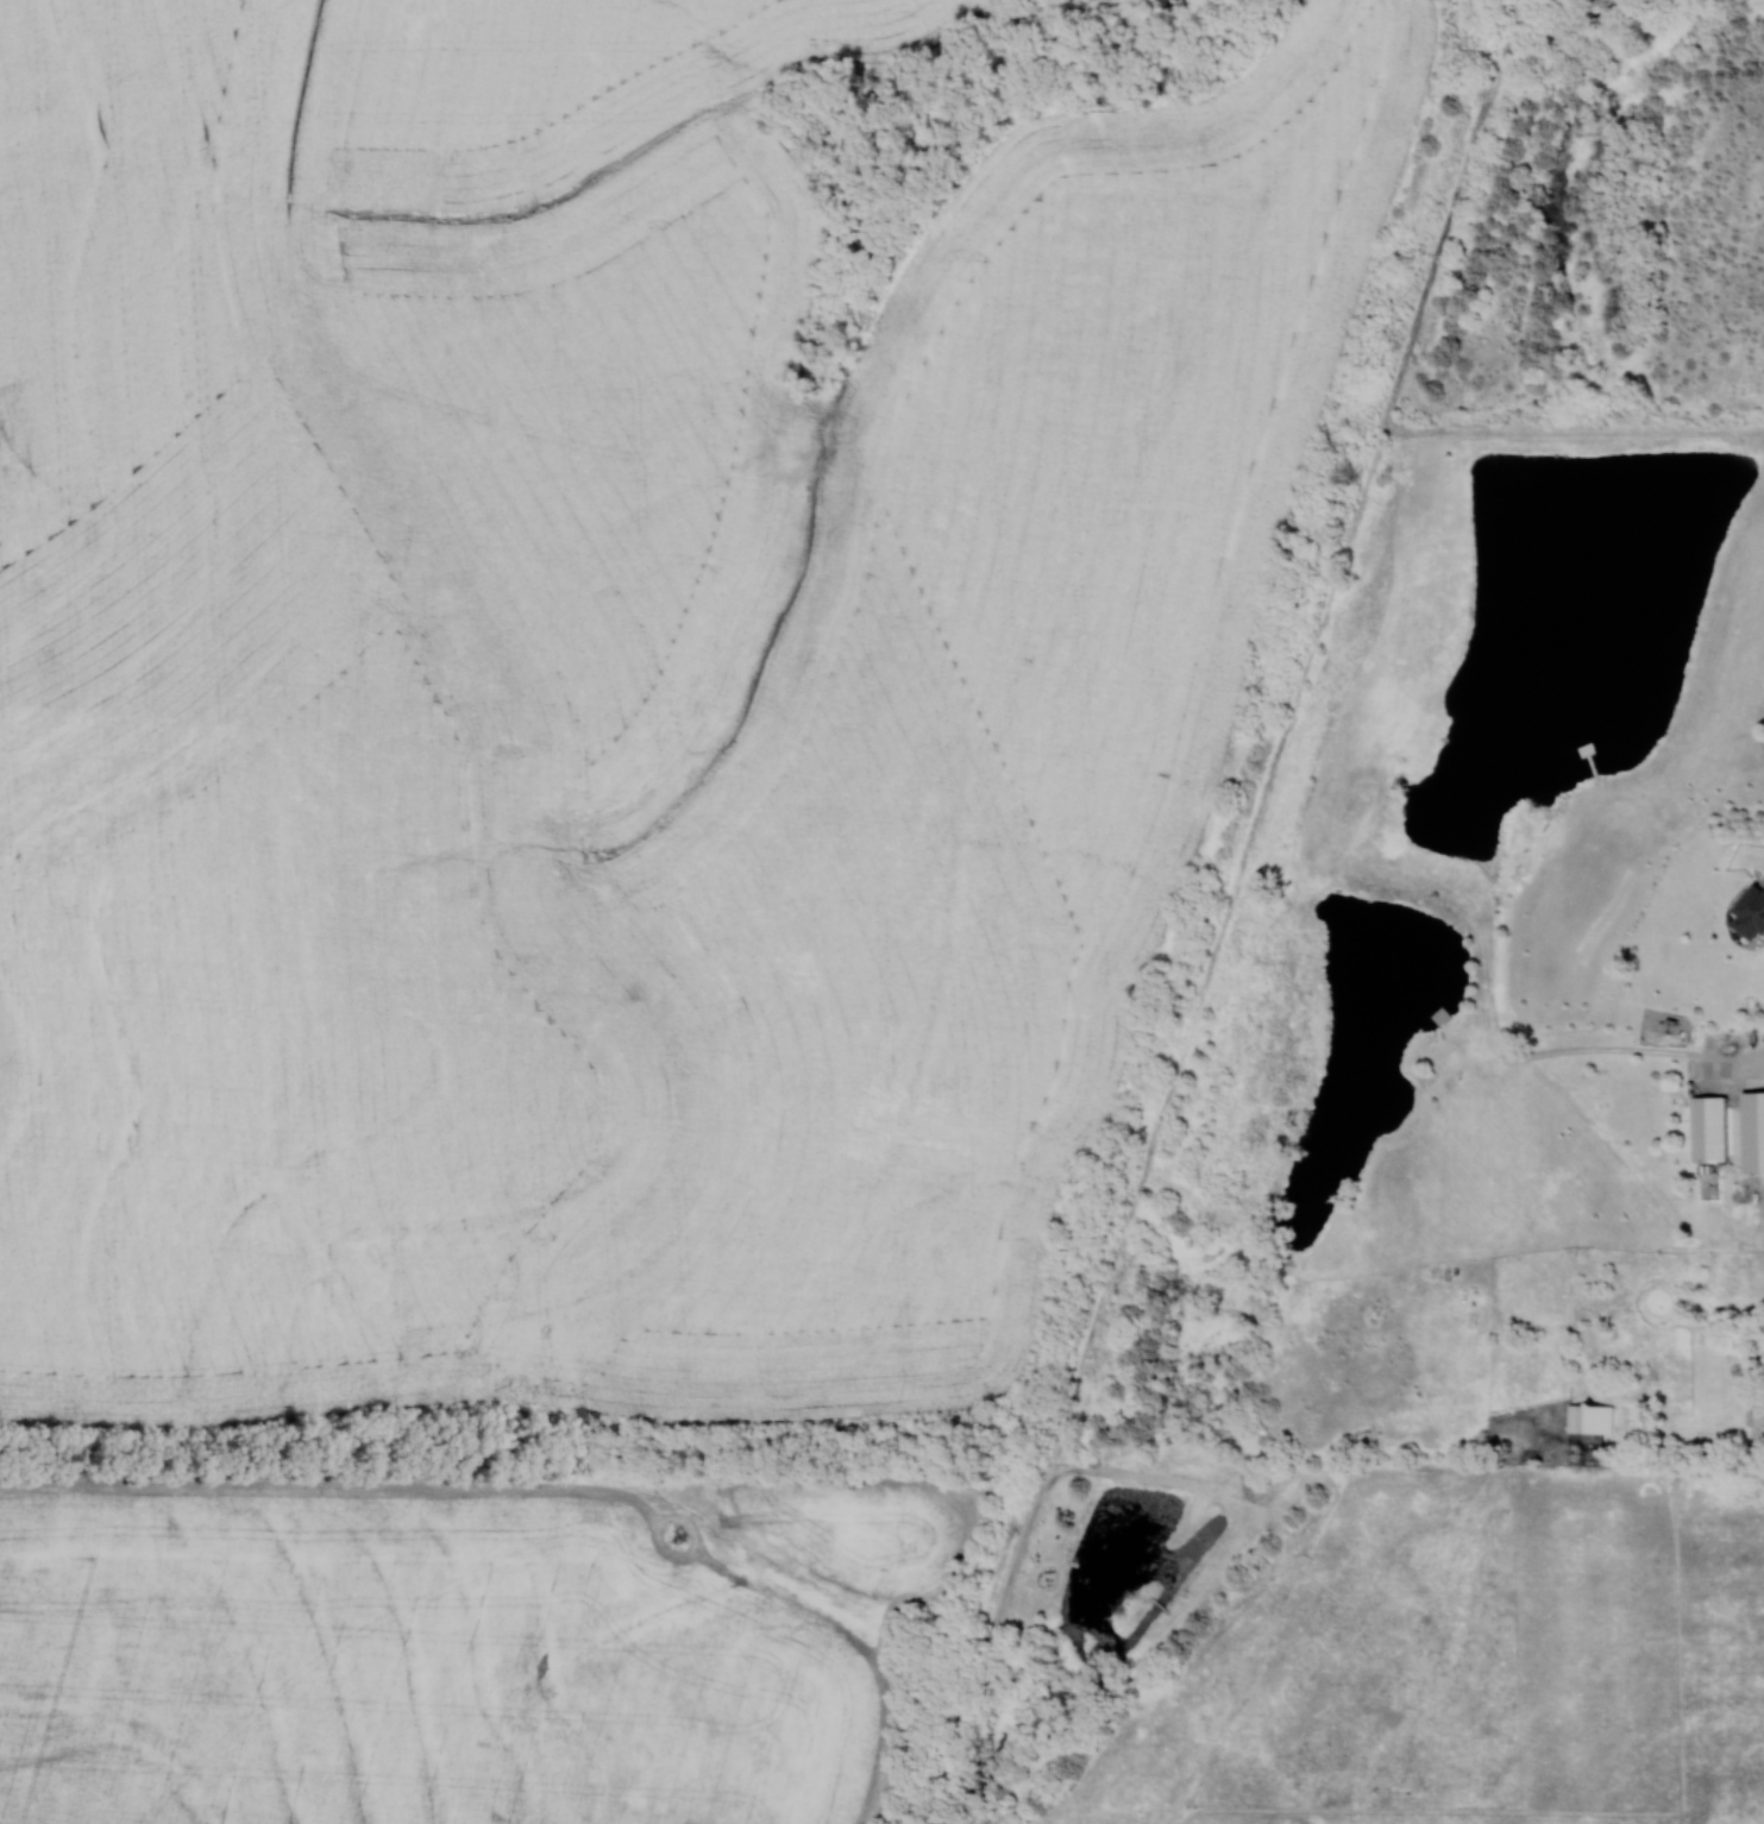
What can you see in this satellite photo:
building: (1750, 912)
building: (1709, 1128)
building: (1753, 1131)
building: (1754, 1415)
building: (1589, 1419)

